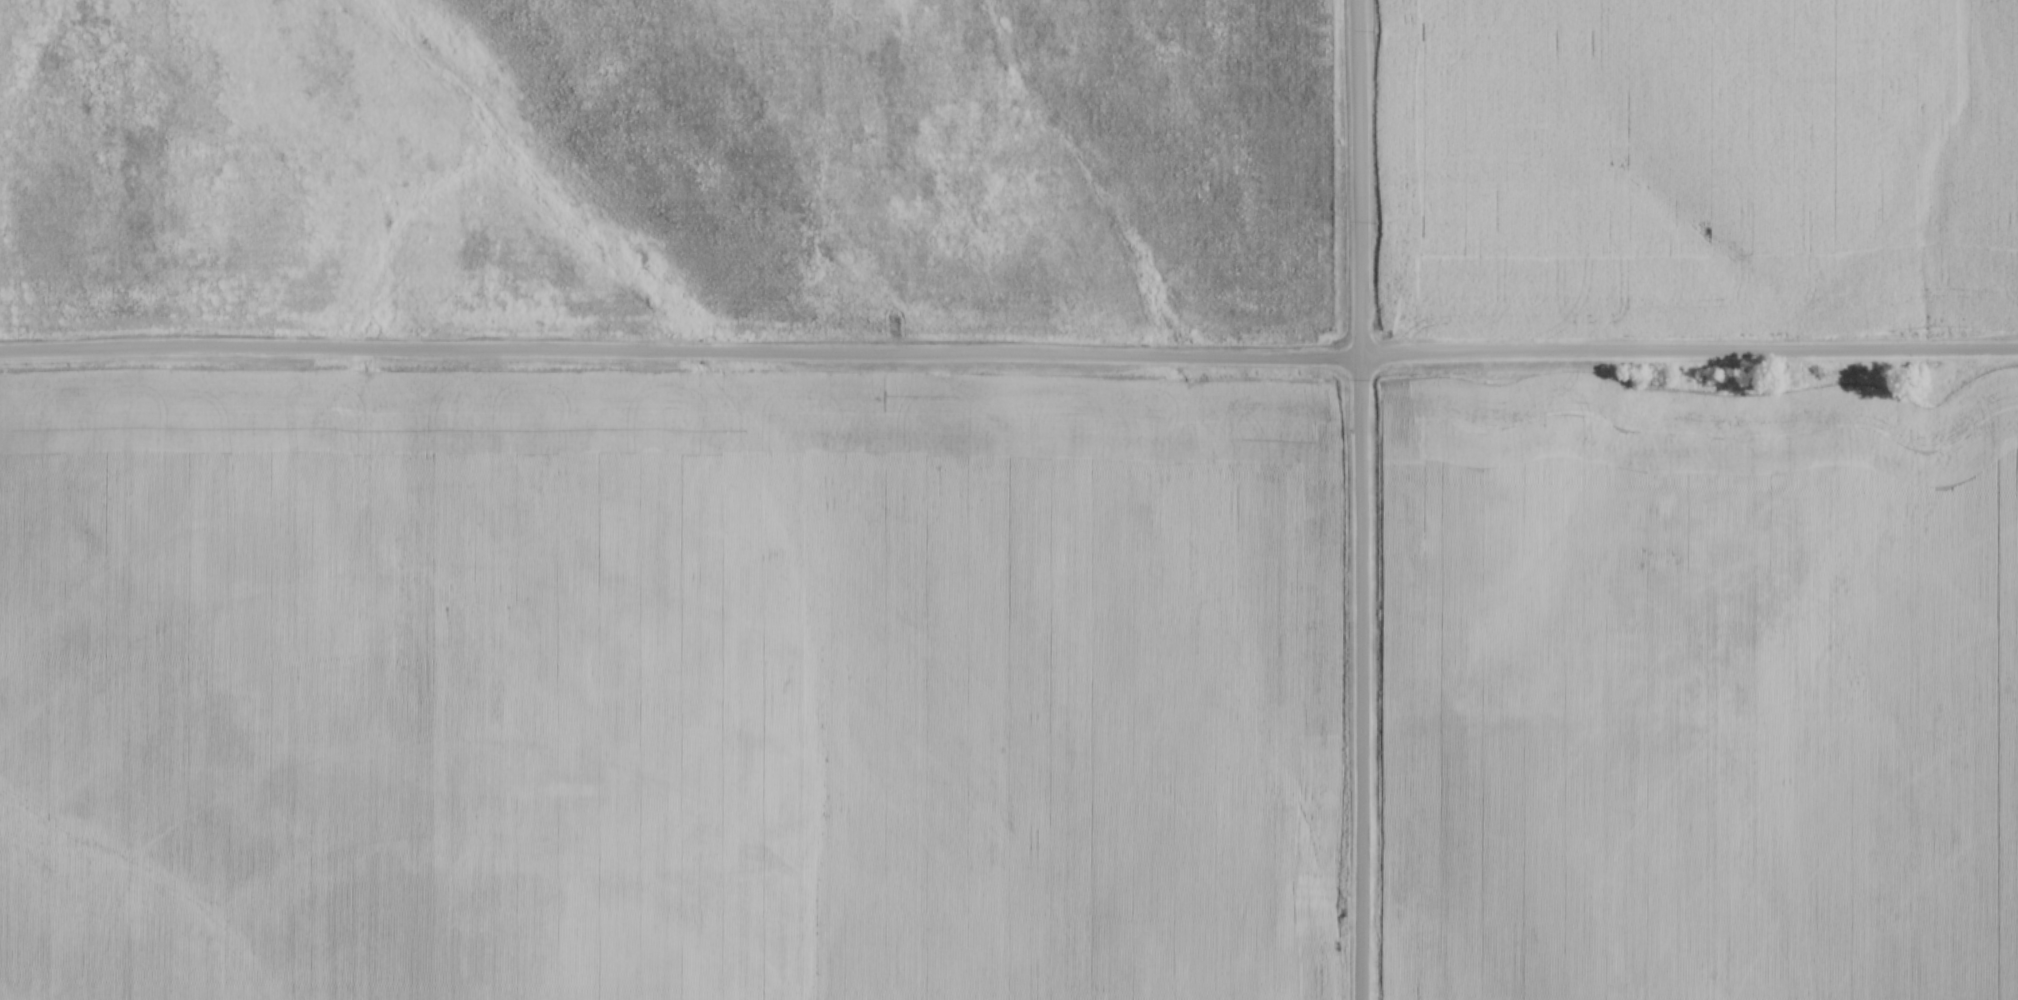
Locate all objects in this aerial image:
road: (1009, 359)
road: (1763, 488)
road: (1355, 499)

